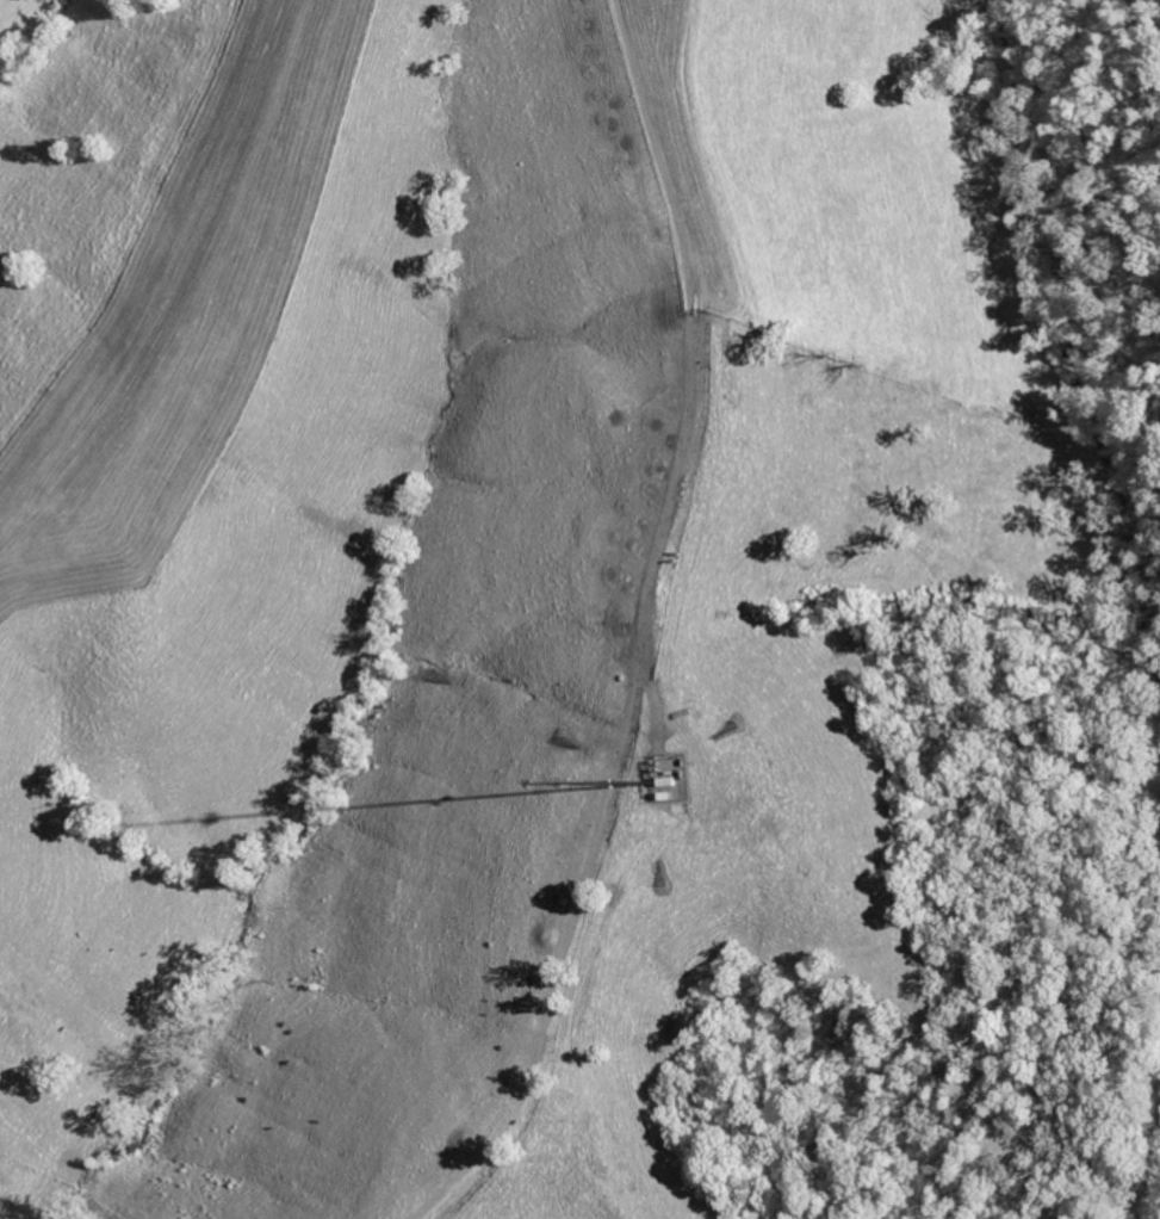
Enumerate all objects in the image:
road: (632, 642)

